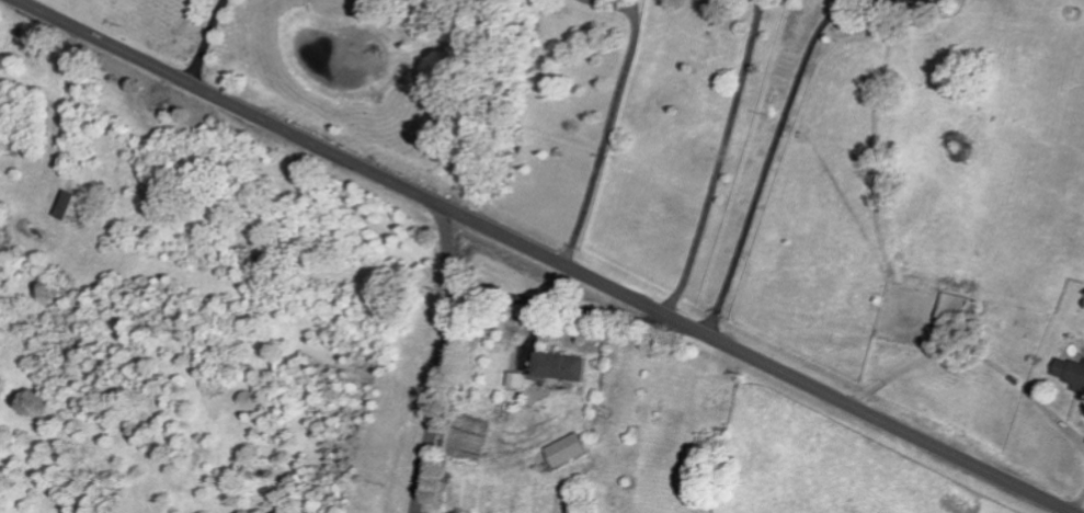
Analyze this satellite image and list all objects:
road: (20, 0)
road: (206, 42)
road: (611, 118)
road: (777, 129)
road: (718, 159)
building: (75, 205)
road: (545, 255)
road: (568, 306)
road: (447, 363)
building: (558, 366)
building: (1068, 373)
building: (514, 379)
building: (562, 451)
road: (1077, 502)

